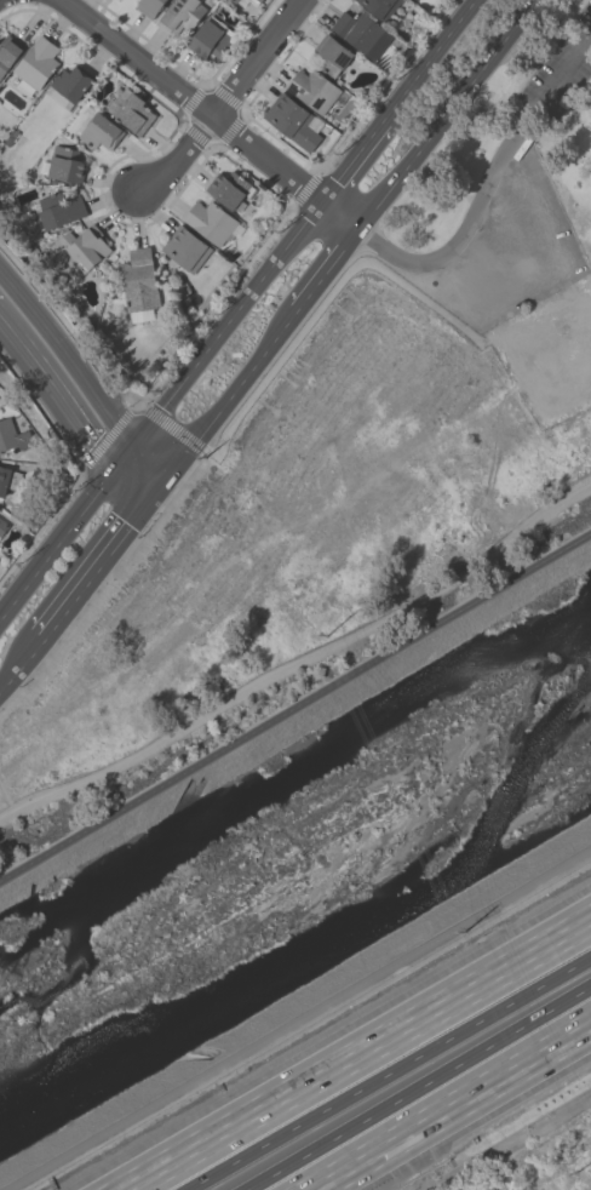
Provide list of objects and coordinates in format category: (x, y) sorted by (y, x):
building: (253, 1)
building: (240, 2)
building: (149, 6)
building: (379, 7)
building: (183, 13)
building: (360, 33)
building: (210, 38)
building: (7, 53)
building: (331, 53)
road: (434, 59)
building: (35, 65)
building: (67, 86)
building: (311, 88)
road: (224, 98)
building: (128, 110)
road: (211, 113)
road: (447, 116)
building: (291, 120)
building: (96, 128)
road: (355, 162)
building: (64, 164)
road: (487, 184)
building: (229, 189)
building: (58, 210)
building: (211, 222)
park: (518, 228)
building: (84, 246)
building: (184, 248)
road: (327, 273)
building: (138, 284)
road: (239, 314)
road: (70, 360)
road: (246, 379)
road: (59, 394)
road: (131, 407)
building: (12, 436)
road: (142, 440)
traffic signals: (127, 457)
road: (178, 468)
road: (144, 473)
road: (110, 477)
building: (7, 479)
traffic signals: (162, 490)
road: (148, 508)
building: (2, 525)
road: (46, 560)
road: (90, 584)
road: (302, 660)
road: (22, 665)
road: (295, 710)
river: (295, 860)
road: (299, 1020)
road: (361, 1055)
road: (395, 1074)
road: (418, 1088)
road: (444, 1103)

